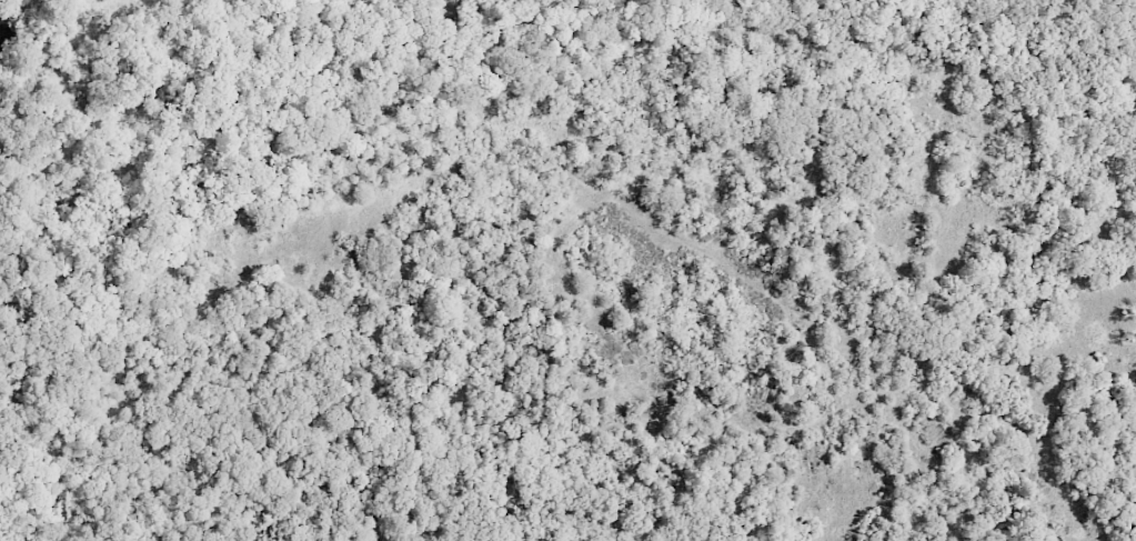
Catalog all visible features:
river: (13, 18)

